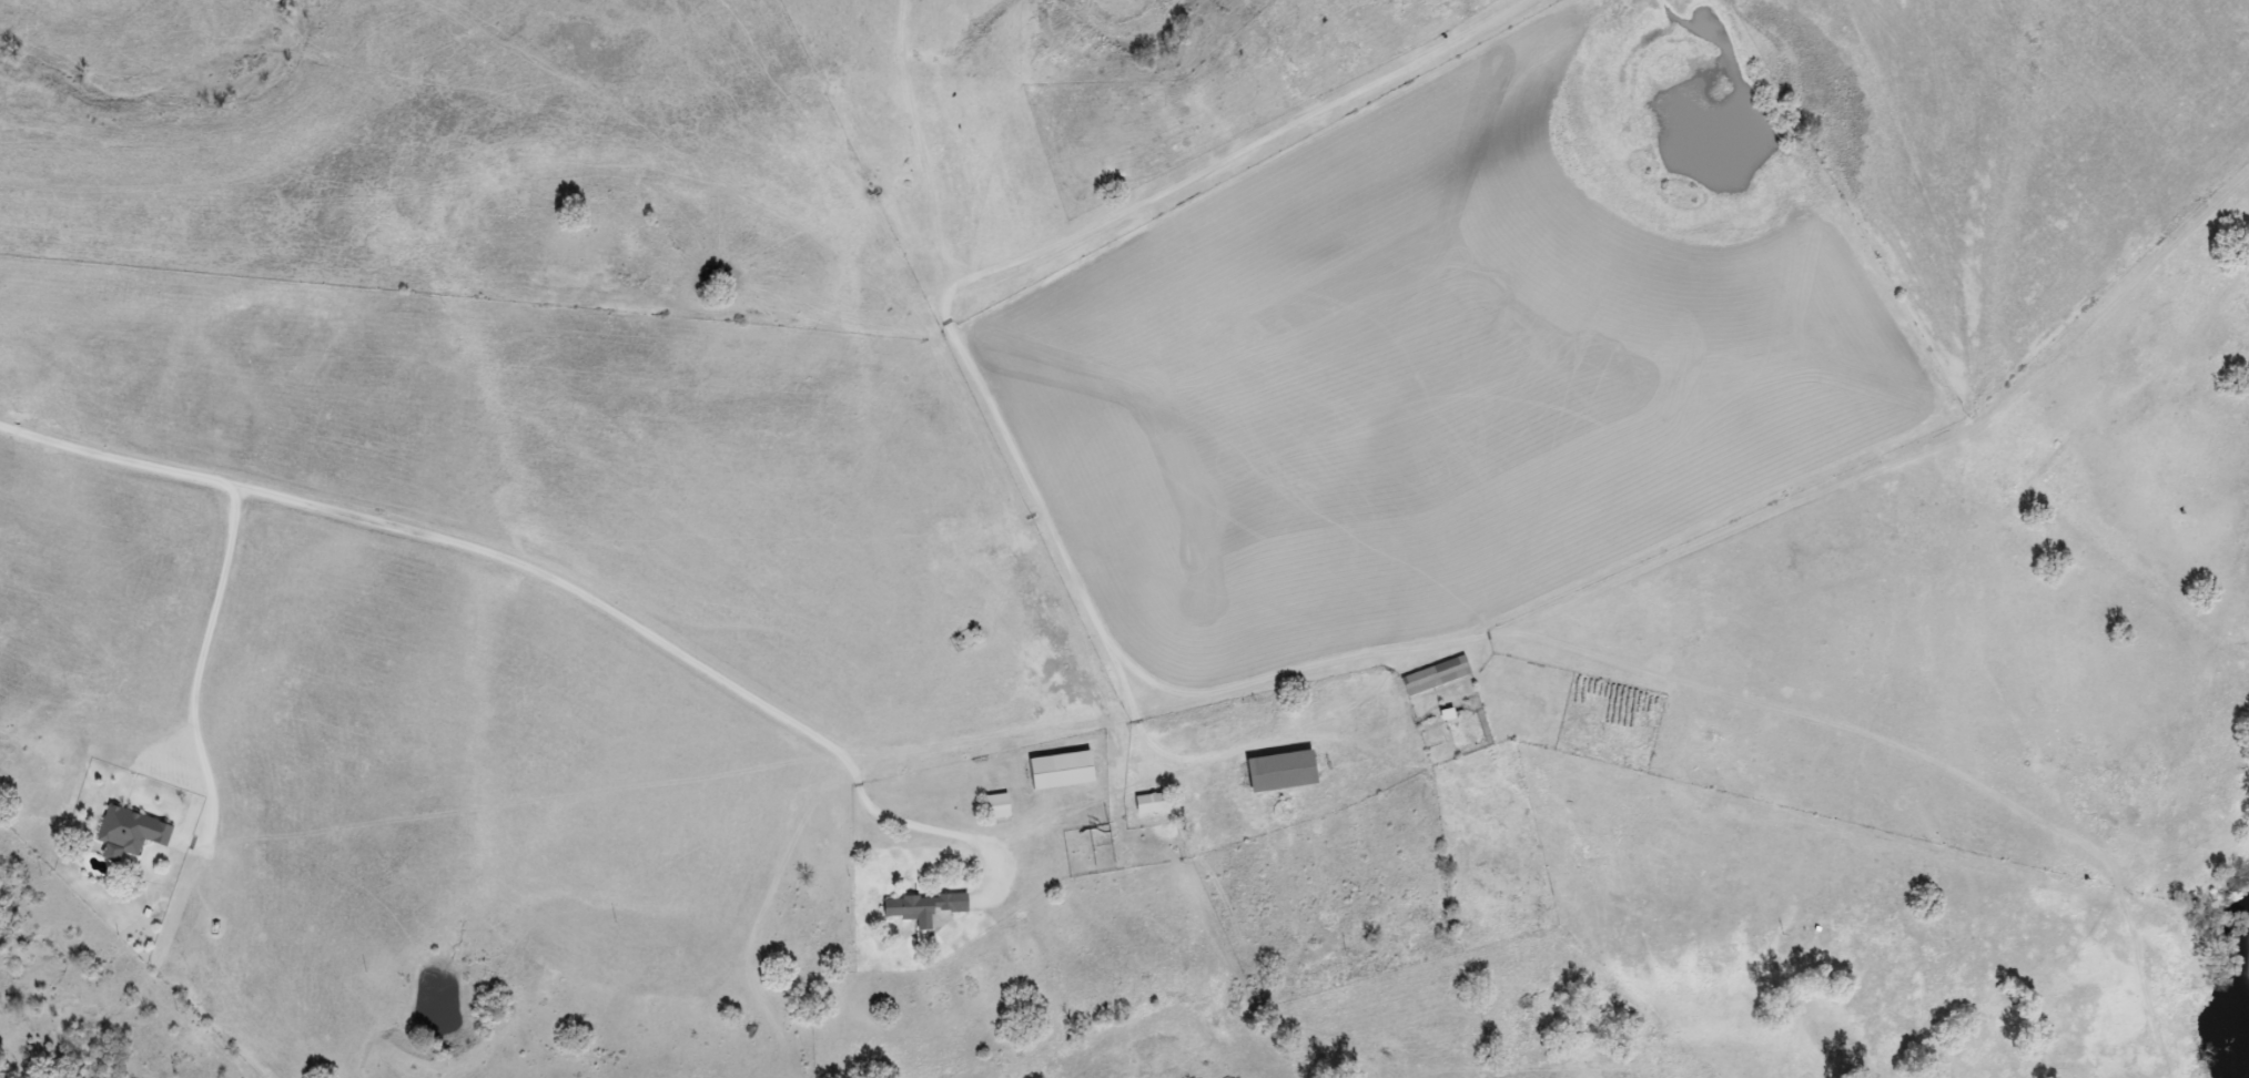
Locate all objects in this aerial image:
road: (504, 557)
building: (1431, 677)
building: (1053, 771)
building: (1273, 772)
building: (1146, 804)
building: (991, 807)
building: (126, 832)
building: (916, 908)
river: (2233, 1004)

